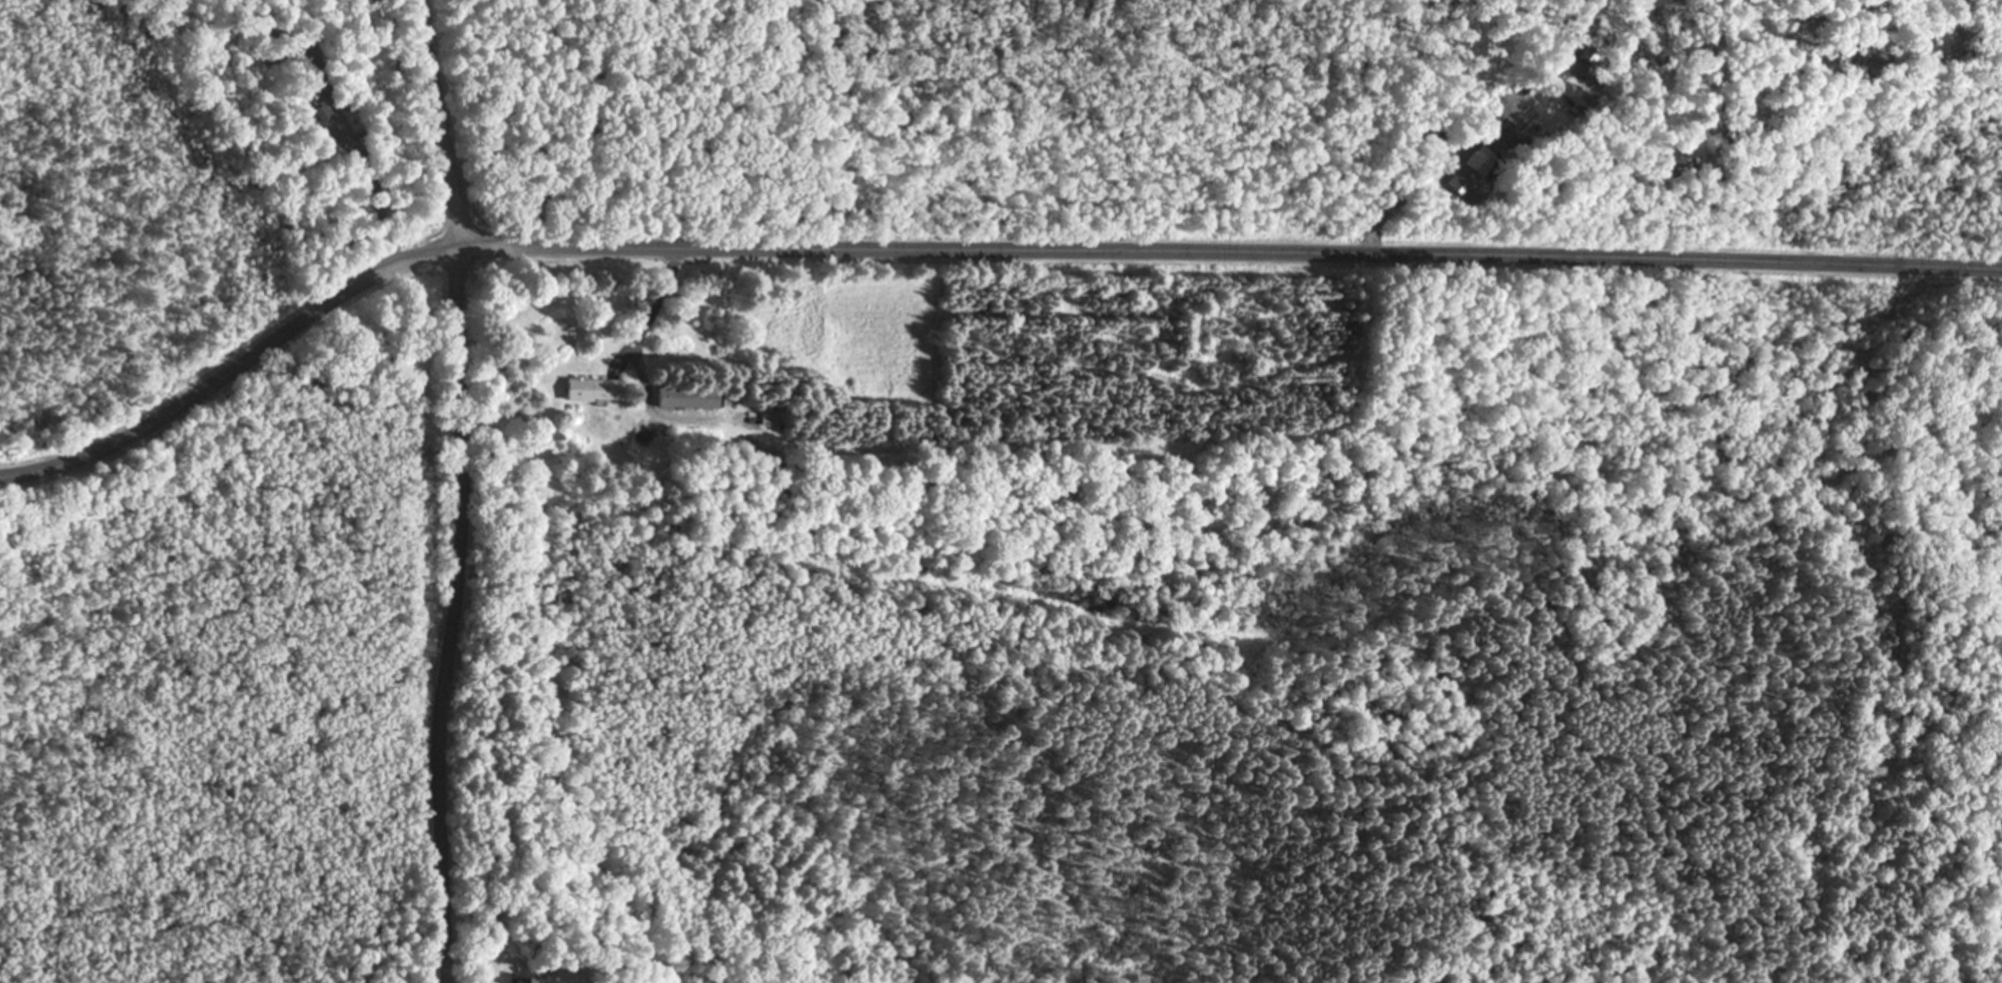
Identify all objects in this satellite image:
road: (441, 122)
road: (970, 244)
building: (598, 389)
building: (693, 399)
road: (458, 614)
building: (526, 981)

